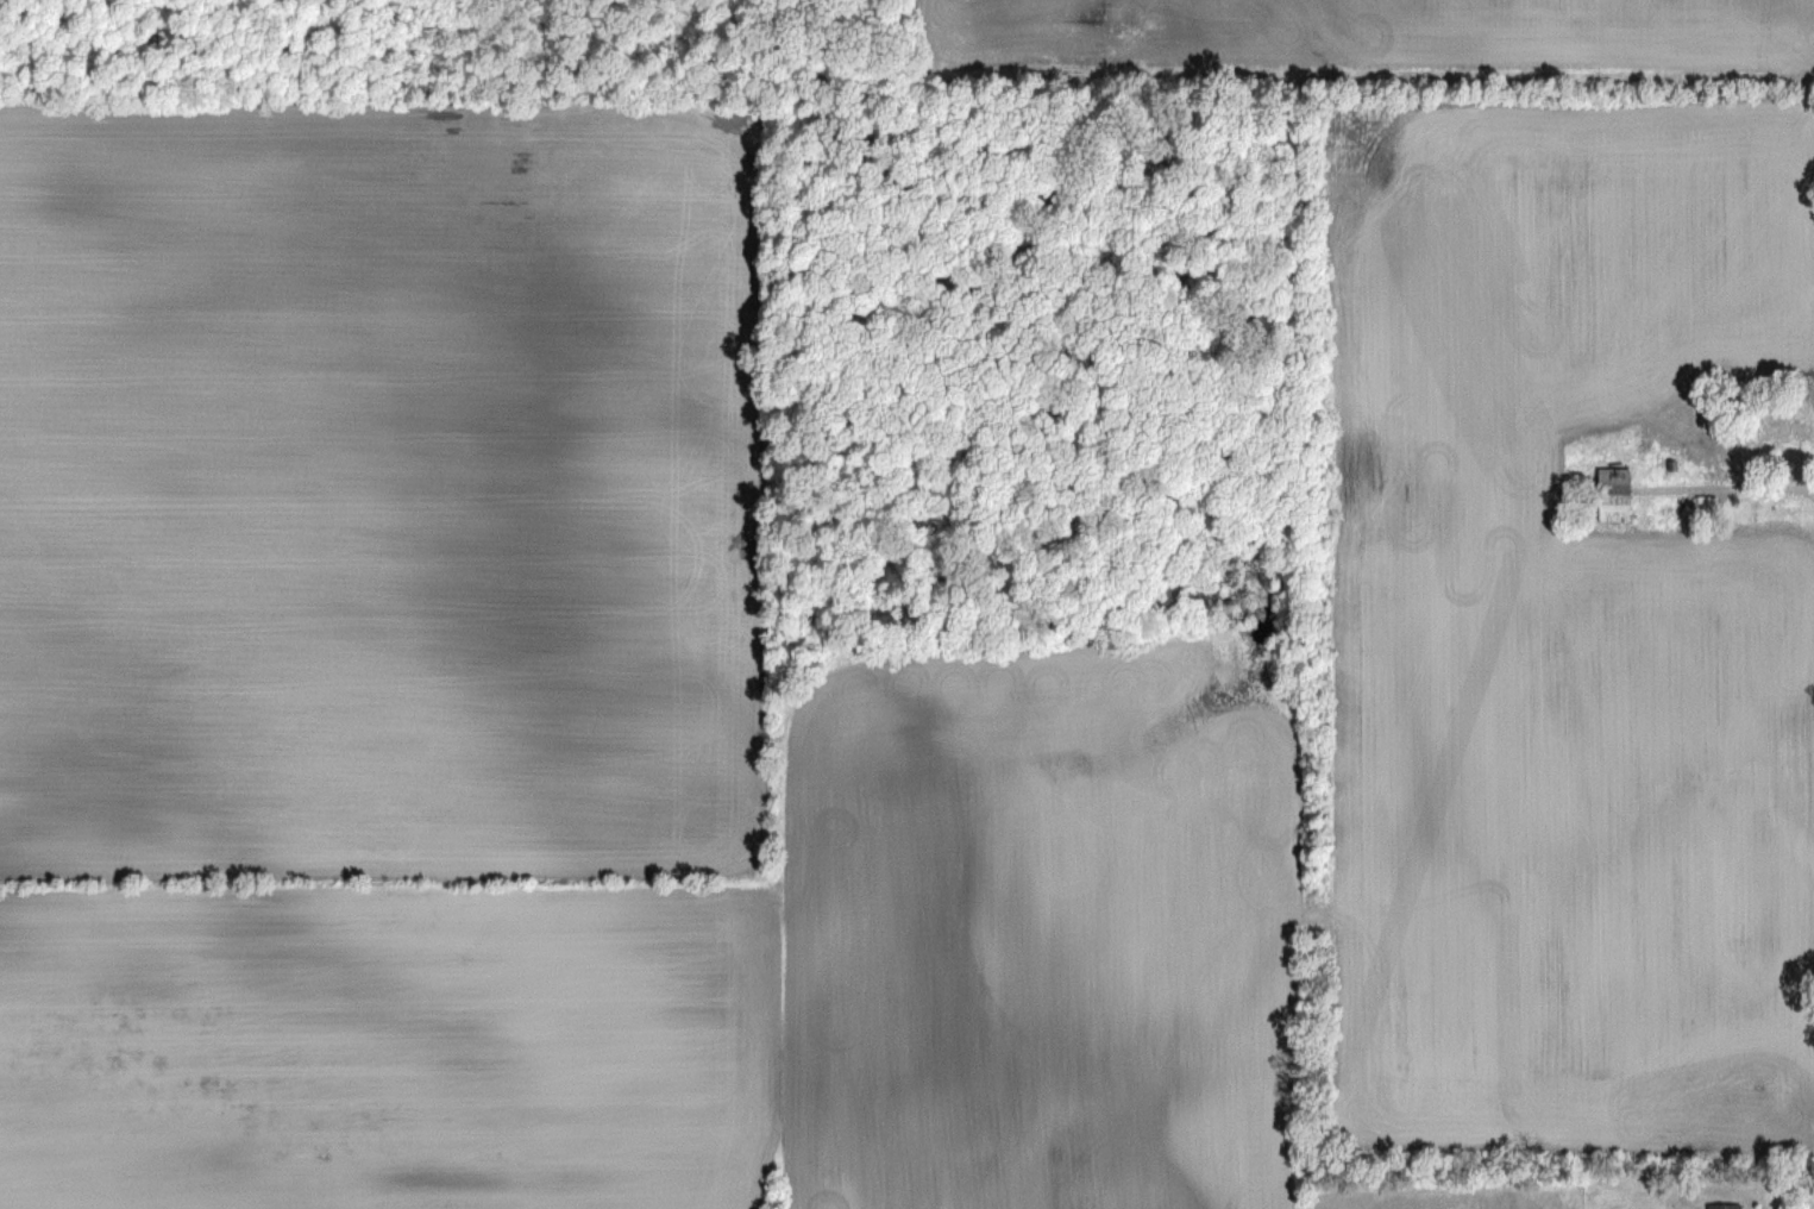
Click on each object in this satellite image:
building: (1775, 427)
building: (1578, 471)
building: (1613, 493)

